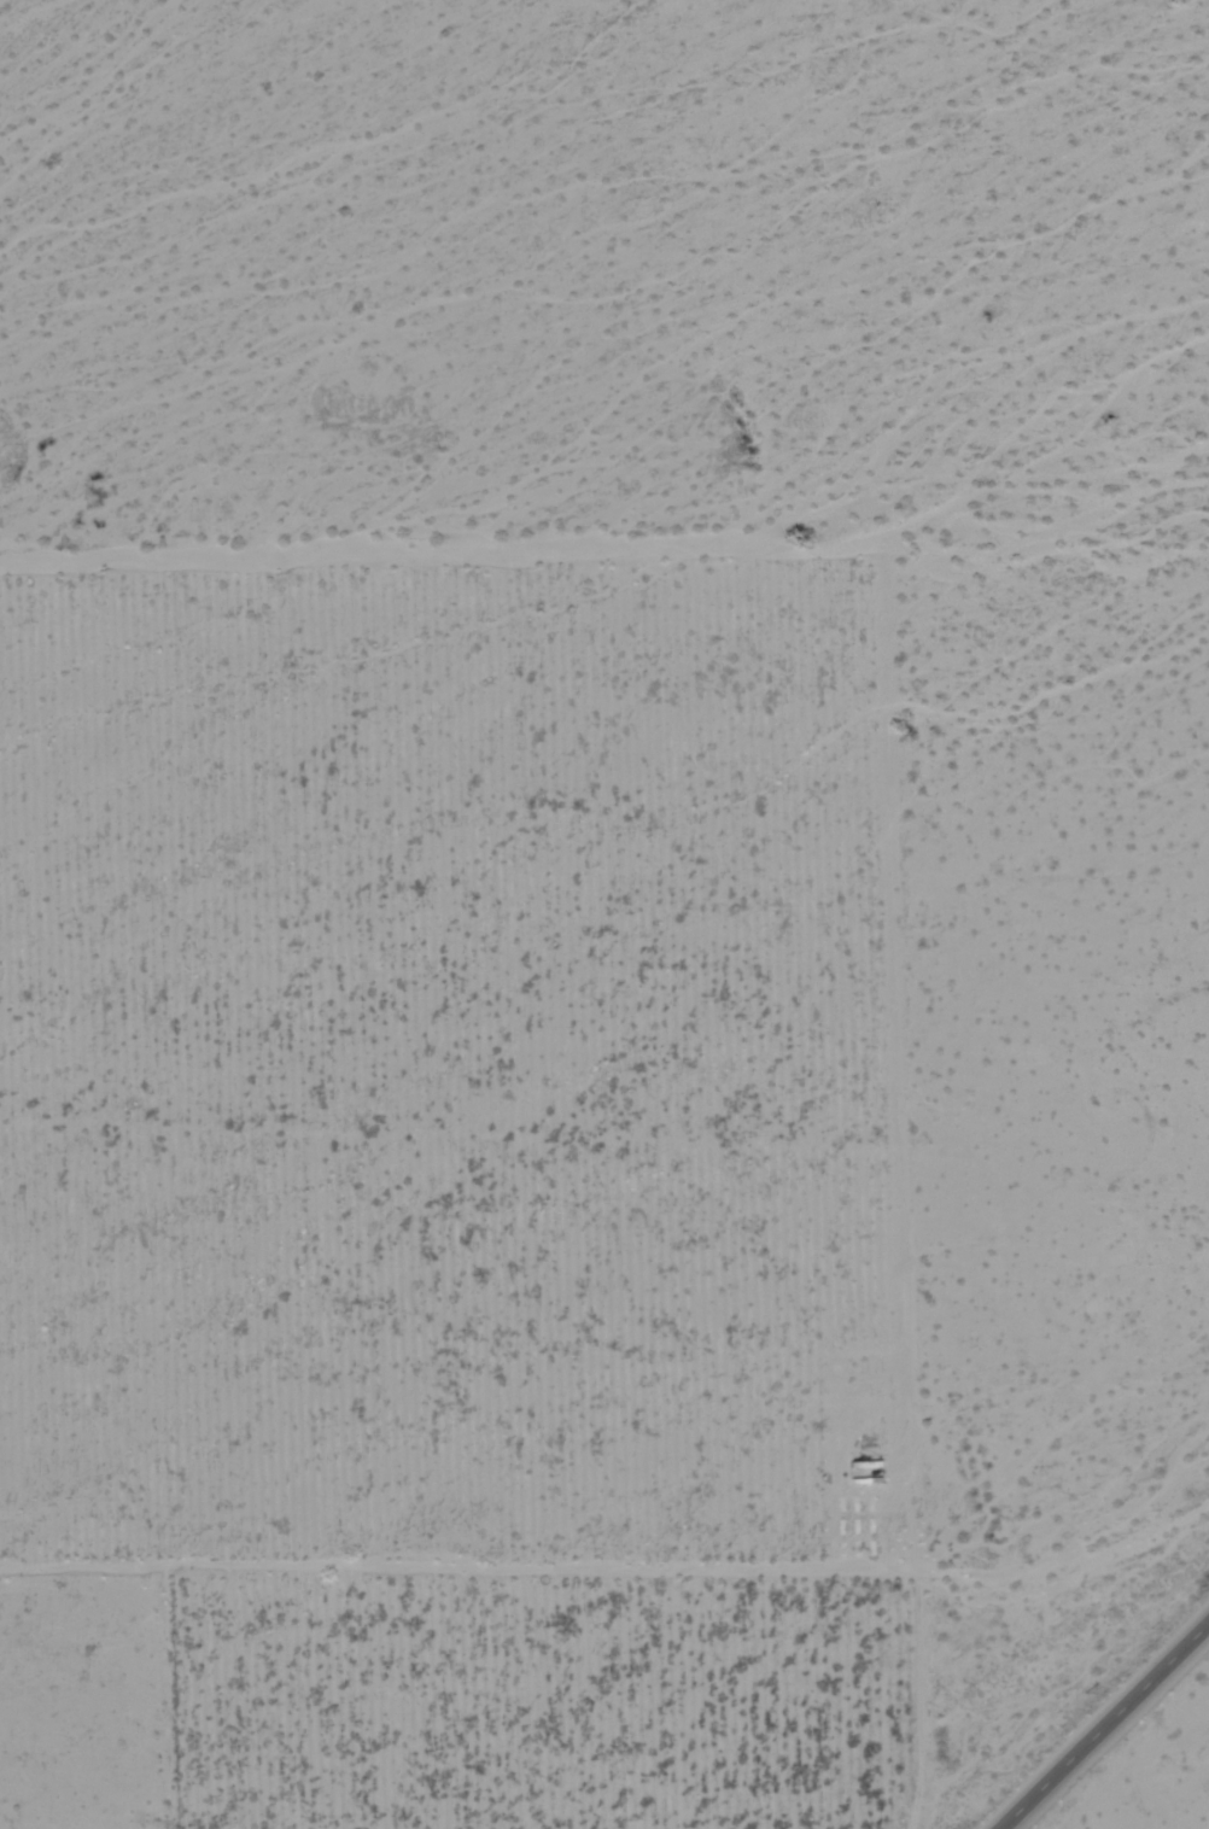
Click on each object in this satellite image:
road: (1104, 1725)

